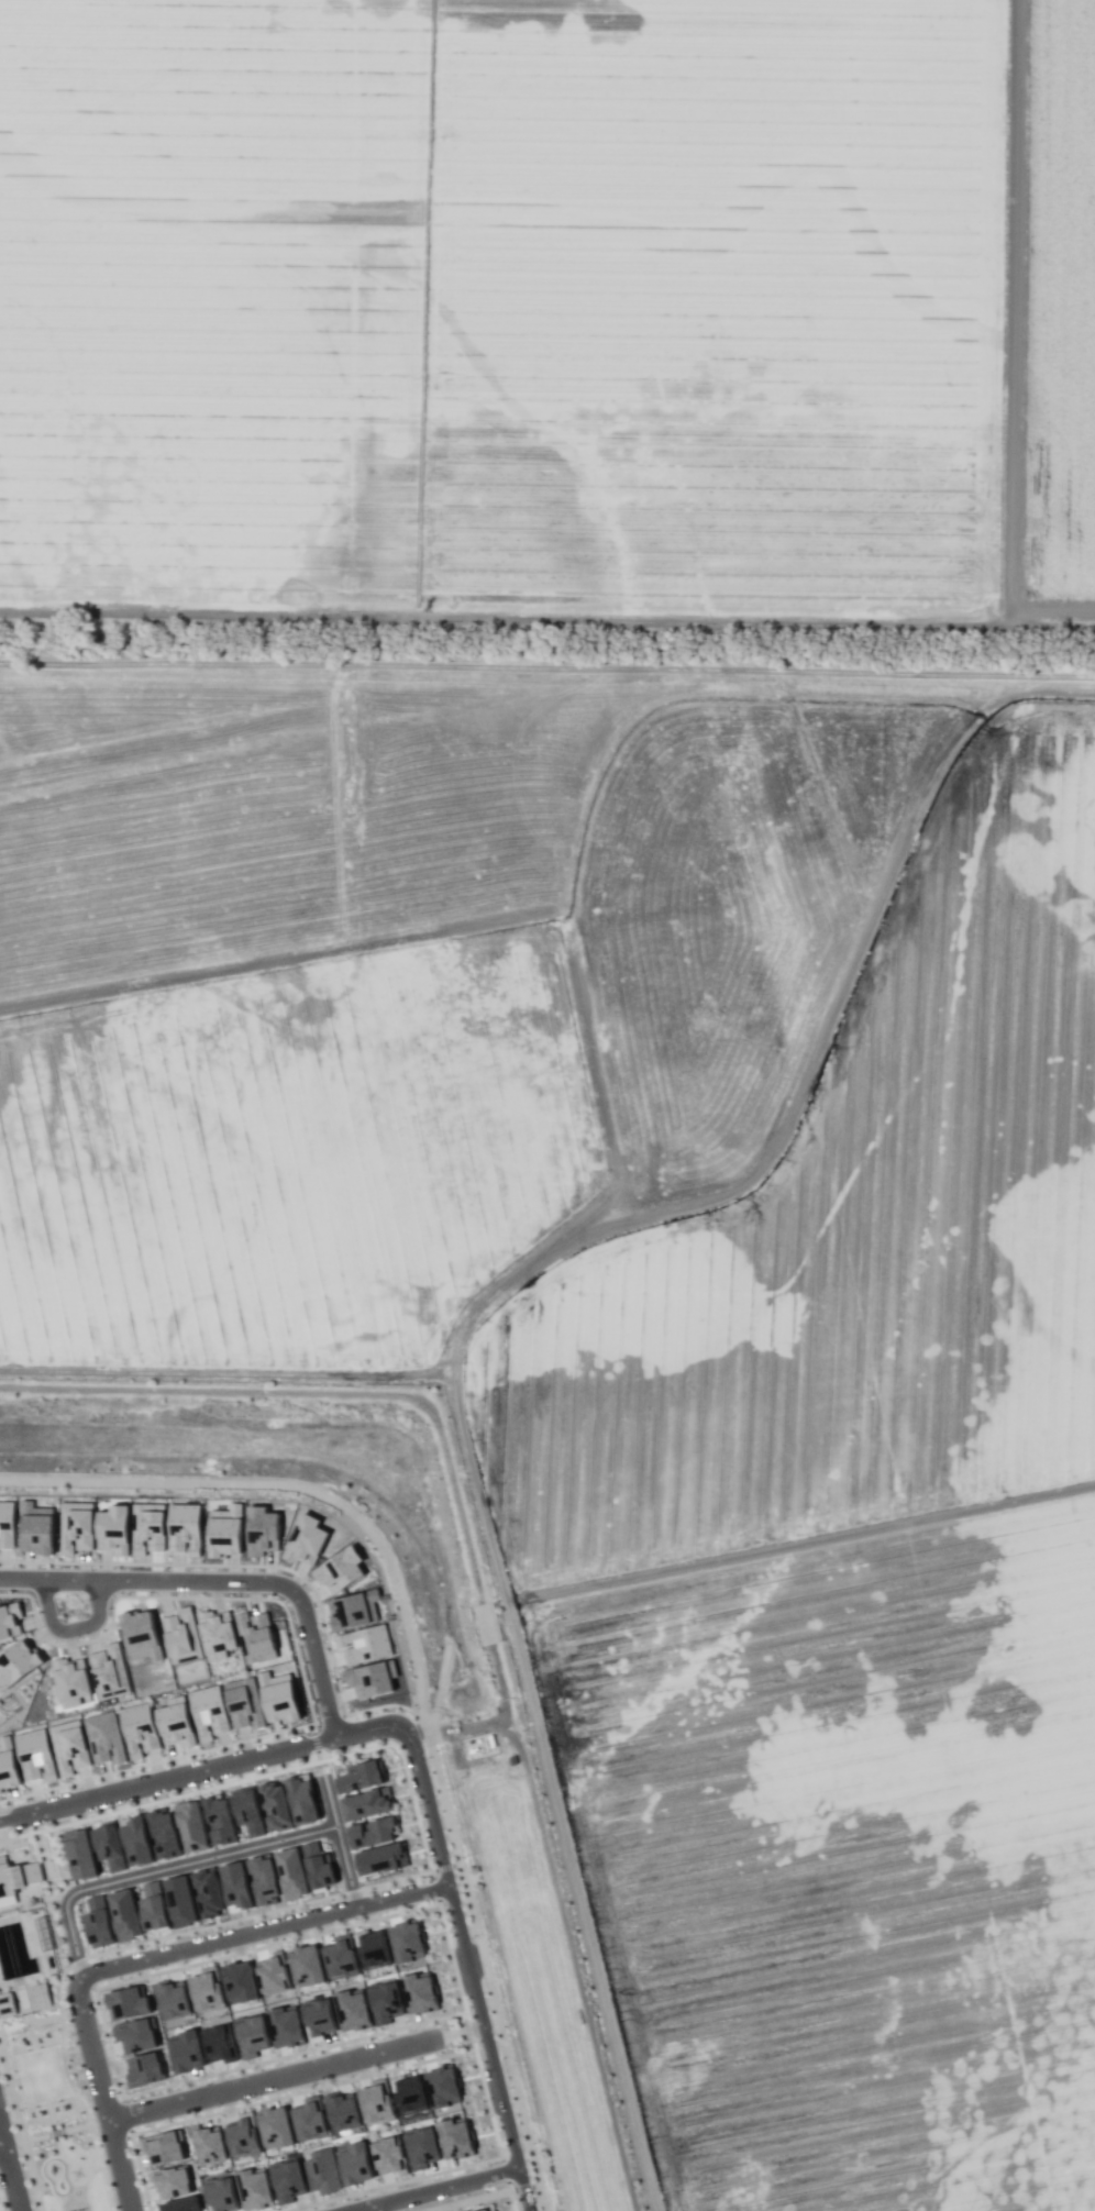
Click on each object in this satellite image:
crop: (291, 1165)
road: (764, 1170)
crop: (855, 1249)
road: (289, 1486)
building: (7, 1523)
building: (76, 1526)
building: (36, 1528)
building: (113, 1528)
building: (147, 1528)
building: (185, 1528)
building: (225, 1530)
building: (262, 1530)
building: (306, 1541)
road: (801, 1545)
street lamp: (95, 1568)
building: (340, 1570)
road: (223, 1582)
building: (355, 1610)
building: (9, 1619)
road: (70, 1629)
building: (217, 1633)
building: (140, 1635)
building: (181, 1635)
street lamp: (81, 1637)
building: (255, 1637)
building: (366, 1644)
building: (16, 1662)
street lamp: (330, 1670)
building: (109, 1671)
building: (372, 1678)
building: (70, 1680)
building: (278, 1696)
building: (244, 1703)
building: (208, 1712)
road: (330, 1717)
building: (176, 1723)
building: (139, 1729)
building: (104, 1738)
road: (313, 1742)
building: (69, 1747)
street lamp: (347, 1748)
street lamp: (438, 1749)
street lamp: (209, 1755)
road: (318, 1755)
building: (35, 1756)
building: (8, 1766)
road: (201, 1770)
road: (268, 1772)
building: (362, 1776)
building: (300, 1799)
building: (369, 1803)
building: (274, 1805)
street lamp: (419, 1805)
building: (246, 1810)
street lamp: (85, 1814)
building: (219, 1821)
building: (191, 1825)
building: (372, 1832)
building: (163, 1833)
building: (135, 1839)
road: (339, 1842)
building: (108, 1845)
building: (79, 1854)
street lamp: (463, 1856)
building: (380, 1858)
crop: (847, 1862)
building: (318, 1866)
road: (446, 1867)
road: (161, 1869)
building: (290, 1872)
building: (18, 1877)
building: (262, 1879)
building: (235, 1884)
building: (208, 1893)
road: (49, 1897)
street lamp: (433, 1899)
building: (179, 1901)
building: (0, 1905)
building: (153, 1906)
building: (123, 1915)
building: (96, 1921)
road: (265, 1930)
street lamp: (471, 1938)
road: (151, 1939)
building: (407, 1942)
building: (375, 1948)
building: (342, 1957)
road: (484, 1964)
building: (307, 1965)
building: (272, 1969)
road: (468, 1969)
building: (239, 1981)
building: (206, 1990)
building: (419, 1994)
building: (40, 1996)
building: (172, 1999)
building: (128, 2003)
building: (5, 2004)
building: (367, 2005)
building: (319, 2017)
street lamp: (506, 2025)
building: (285, 2026)
road: (461, 2033)
street lamp: (73, 2034)
building: (136, 2034)
building: (252, 2035)
park: (44, 2036)
building: (219, 2044)
building: (186, 2052)
building: (144, 2069)
road: (274, 2078)
building: (442, 2086)
street lamp: (2, 2087)
road: (102, 2093)
building: (408, 2093)
street lamp: (255, 2098)
street lamp: (135, 2099)
building: (376, 2102)
street lamp: (21, 2109)
building: (341, 2111)
building: (309, 2120)
road: (21, 2127)
building: (275, 2127)
road: (38, 2136)
building: (243, 2136)
building: (455, 2138)
building: (209, 2144)
road: (1, 2146)
building: (165, 2147)
building: (421, 2148)
building: (388, 2156)
road: (68, 2160)
building: (354, 2164)
road: (99, 2167)
road: (10, 2171)
building: (321, 2171)
road: (43, 2177)
building: (172, 2181)
building: (287, 2181)
road: (535, 2185)
road: (523, 2187)
road: (433, 2188)
building: (254, 2189)
building: (221, 2196)
road: (471, 2200)
street lamp: (143, 2204)
building: (179, 2204)
road: (372, 2208)
building: (491, 2210)

